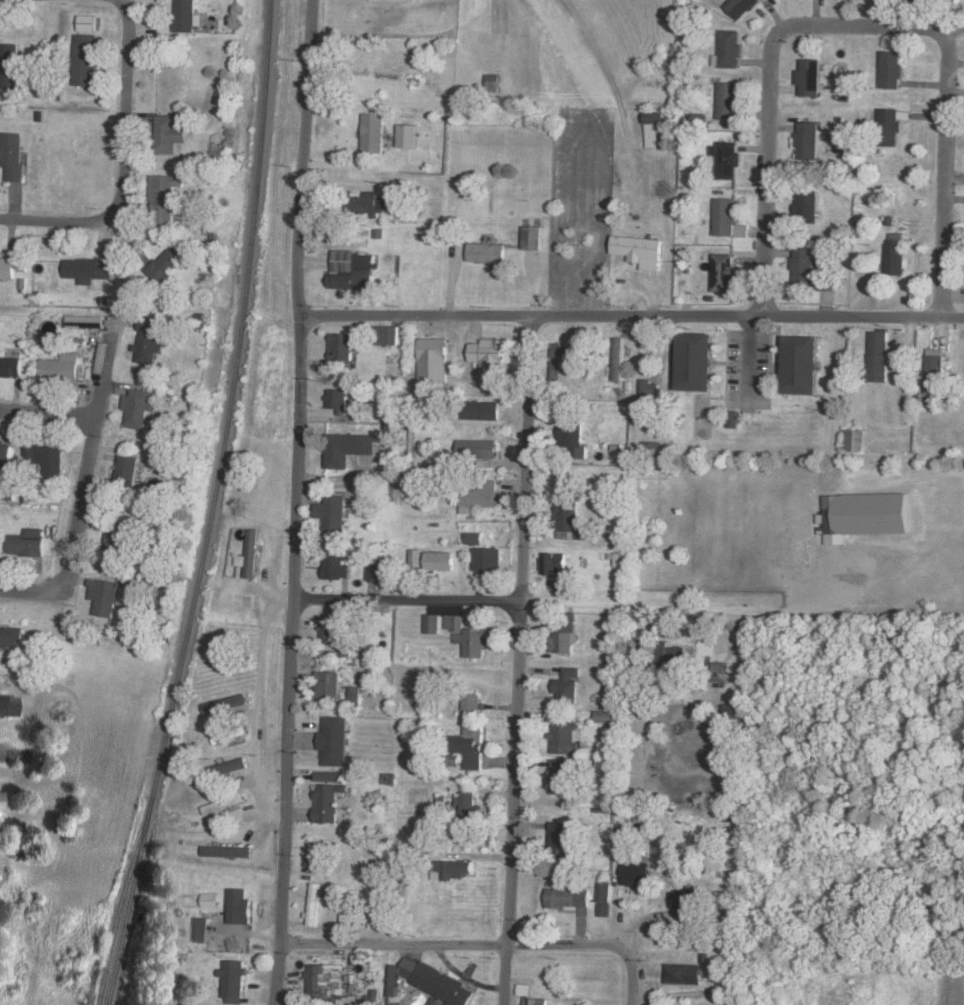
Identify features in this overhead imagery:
building: (393, 0)
building: (741, 7)
building: (184, 16)
building: (86, 23)
road: (861, 27)
building: (730, 50)
building: (84, 60)
building: (9, 66)
building: (891, 70)
building: (810, 78)
building: (492, 83)
building: (729, 102)
building: (890, 128)
building: (656, 130)
building: (372, 134)
building: (168, 135)
building: (405, 136)
building: (808, 142)
building: (12, 156)
building: (726, 160)
road: (124, 161)
road: (362, 169)
building: (165, 199)
building: (366, 205)
building: (807, 206)
building: (728, 219)
building: (532, 238)
building: (640, 251)
building: (486, 253)
building: (896, 255)
building: (164, 266)
building: (804, 267)
building: (7, 268)
building: (87, 270)
building: (351, 271)
building: (724, 273)
road: (633, 318)
building: (84, 322)
building: (386, 335)
building: (149, 340)
building: (341, 347)
building: (489, 356)
building: (879, 357)
building: (618, 360)
building: (433, 361)
building: (557, 362)
building: (697, 363)
building: (802, 366)
building: (10, 368)
building: (61, 370)
building: (936, 371)
building: (650, 392)
building: (337, 399)
building: (138, 408)
building: (482, 411)
road: (47, 414)
building: (733, 420)
building: (573, 436)
building: (855, 441)
building: (346, 448)
building: (651, 448)
building: (478, 449)
road: (89, 455)
building: (5, 456)
building: (46, 459)
building: (127, 472)
building: (480, 496)
road: (297, 501)
railway: (210, 506)
building: (332, 512)
building: (569, 520)
building: (835, 525)
building: (474, 538)
building: (115, 540)
building: (27, 542)
building: (249, 554)
building: (417, 558)
building: (488, 559)
building: (441, 561)
building: (554, 562)
building: (335, 564)
building: (378, 570)
building: (131, 580)
building: (104, 596)
road: (35, 599)
road: (543, 604)
building: (432, 623)
building: (331, 629)
building: (566, 633)
building: (12, 636)
building: (468, 636)
building: (344, 649)
building: (669, 655)
road: (520, 661)
building: (720, 668)
building: (327, 685)
building: (568, 685)
building: (354, 693)
building: (472, 701)
building: (225, 703)
building: (7, 706)
building: (734, 712)
road: (258, 716)
building: (606, 716)
building: (565, 738)
building: (333, 740)
building: (471, 746)
road: (13, 763)
building: (233, 766)
building: (330, 776)
building: (560, 776)
building: (0, 794)
building: (327, 802)
building: (223, 803)
building: (467, 805)
building: (643, 814)
building: (559, 837)
building: (227, 851)
building: (451, 869)
building: (635, 873)
building: (567, 897)
building: (603, 898)
building: (209, 899)
building: (686, 900)
building: (239, 906)
building: (367, 914)
railway: (115, 916)
building: (201, 929)
road: (465, 949)
building: (684, 973)
building: (324, 979)
building: (233, 981)
building: (431, 982)
road: (952, 984)
building: (524, 989)
road: (632, 990)
building: (436, 1001)
building: (535, 1001)

